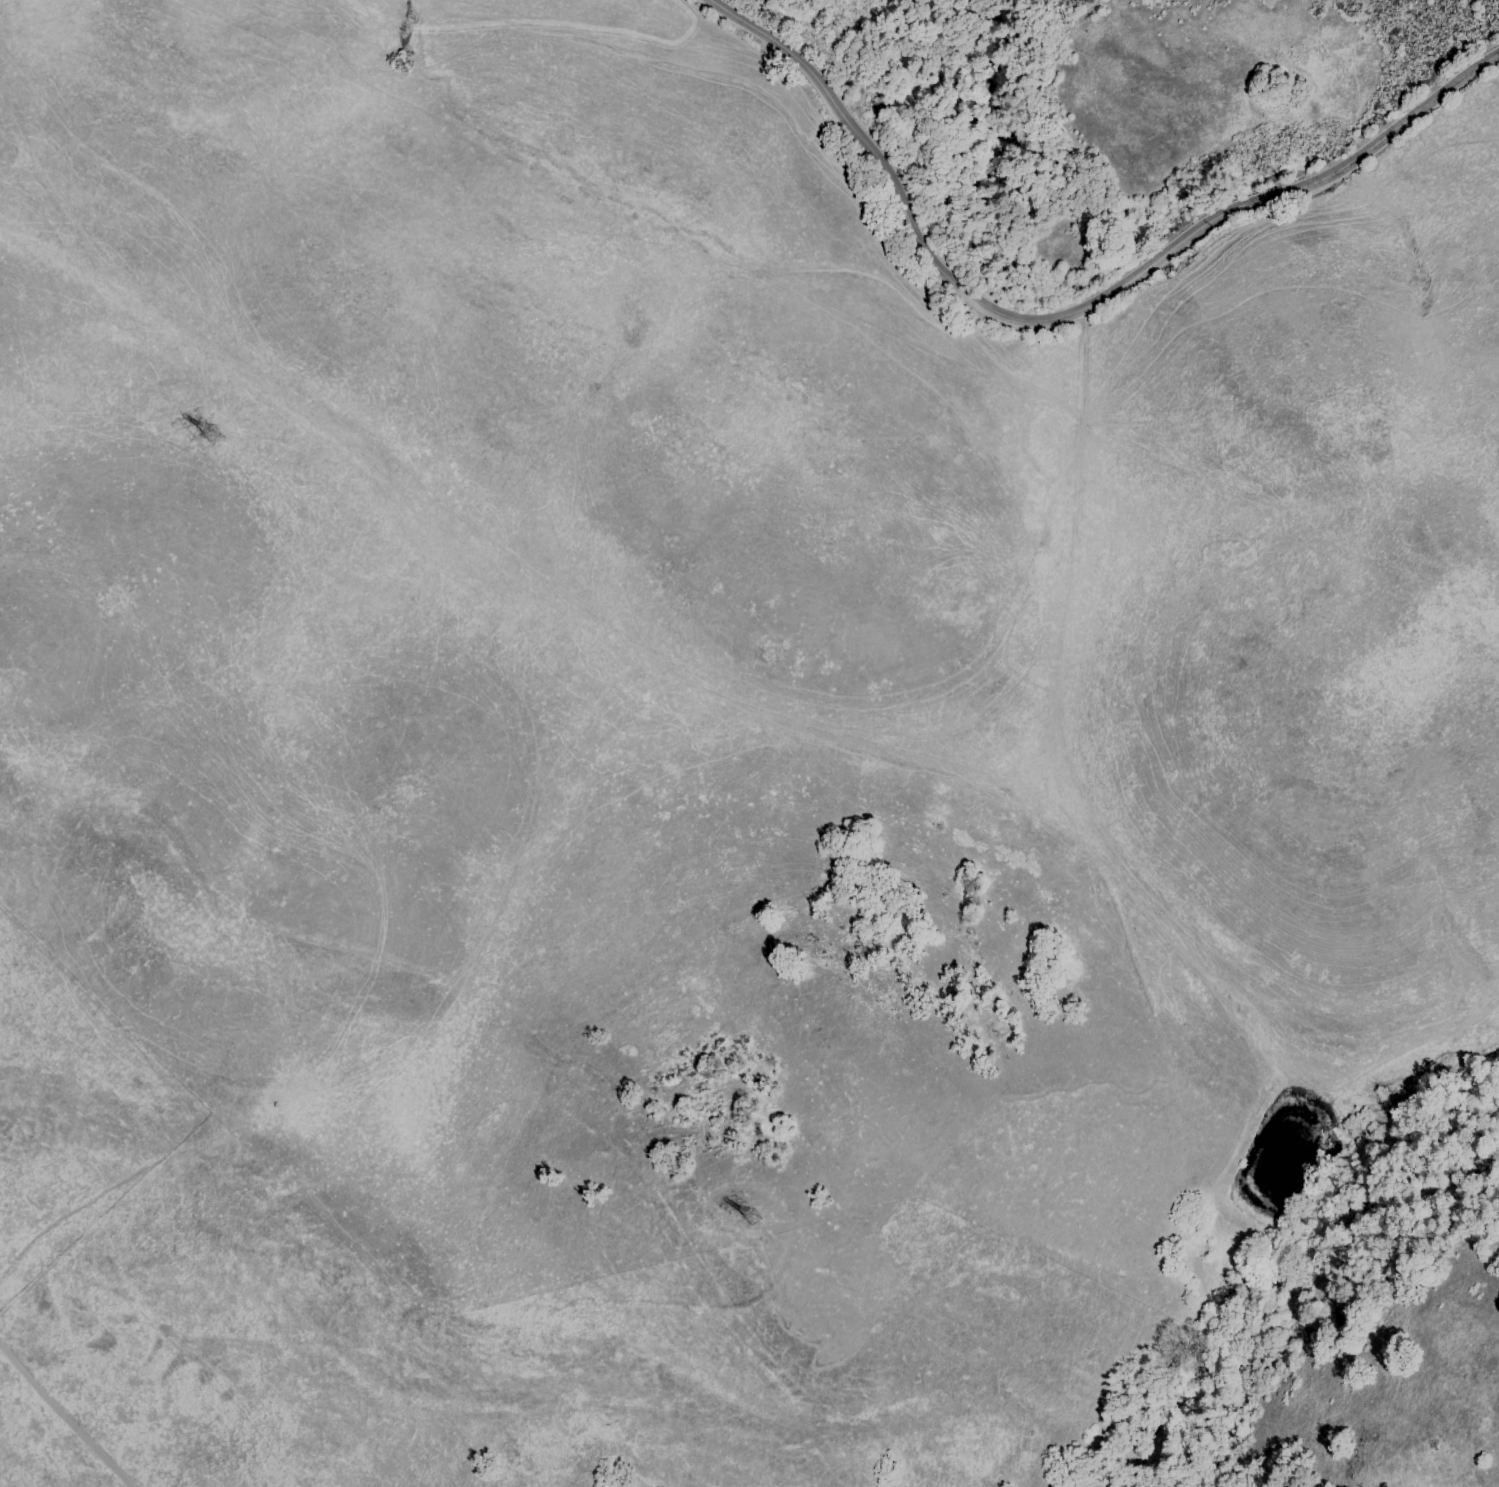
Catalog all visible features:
road: (1070, 316)
power tower: (212, 442)
power tower: (751, 1223)
road: (63, 1416)

